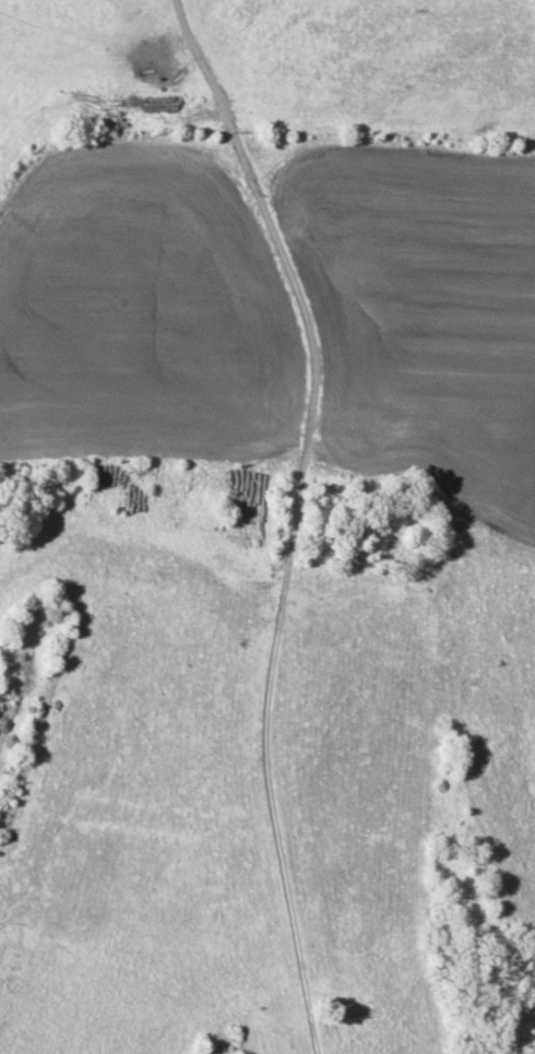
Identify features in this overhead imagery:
road: (296, 516)

